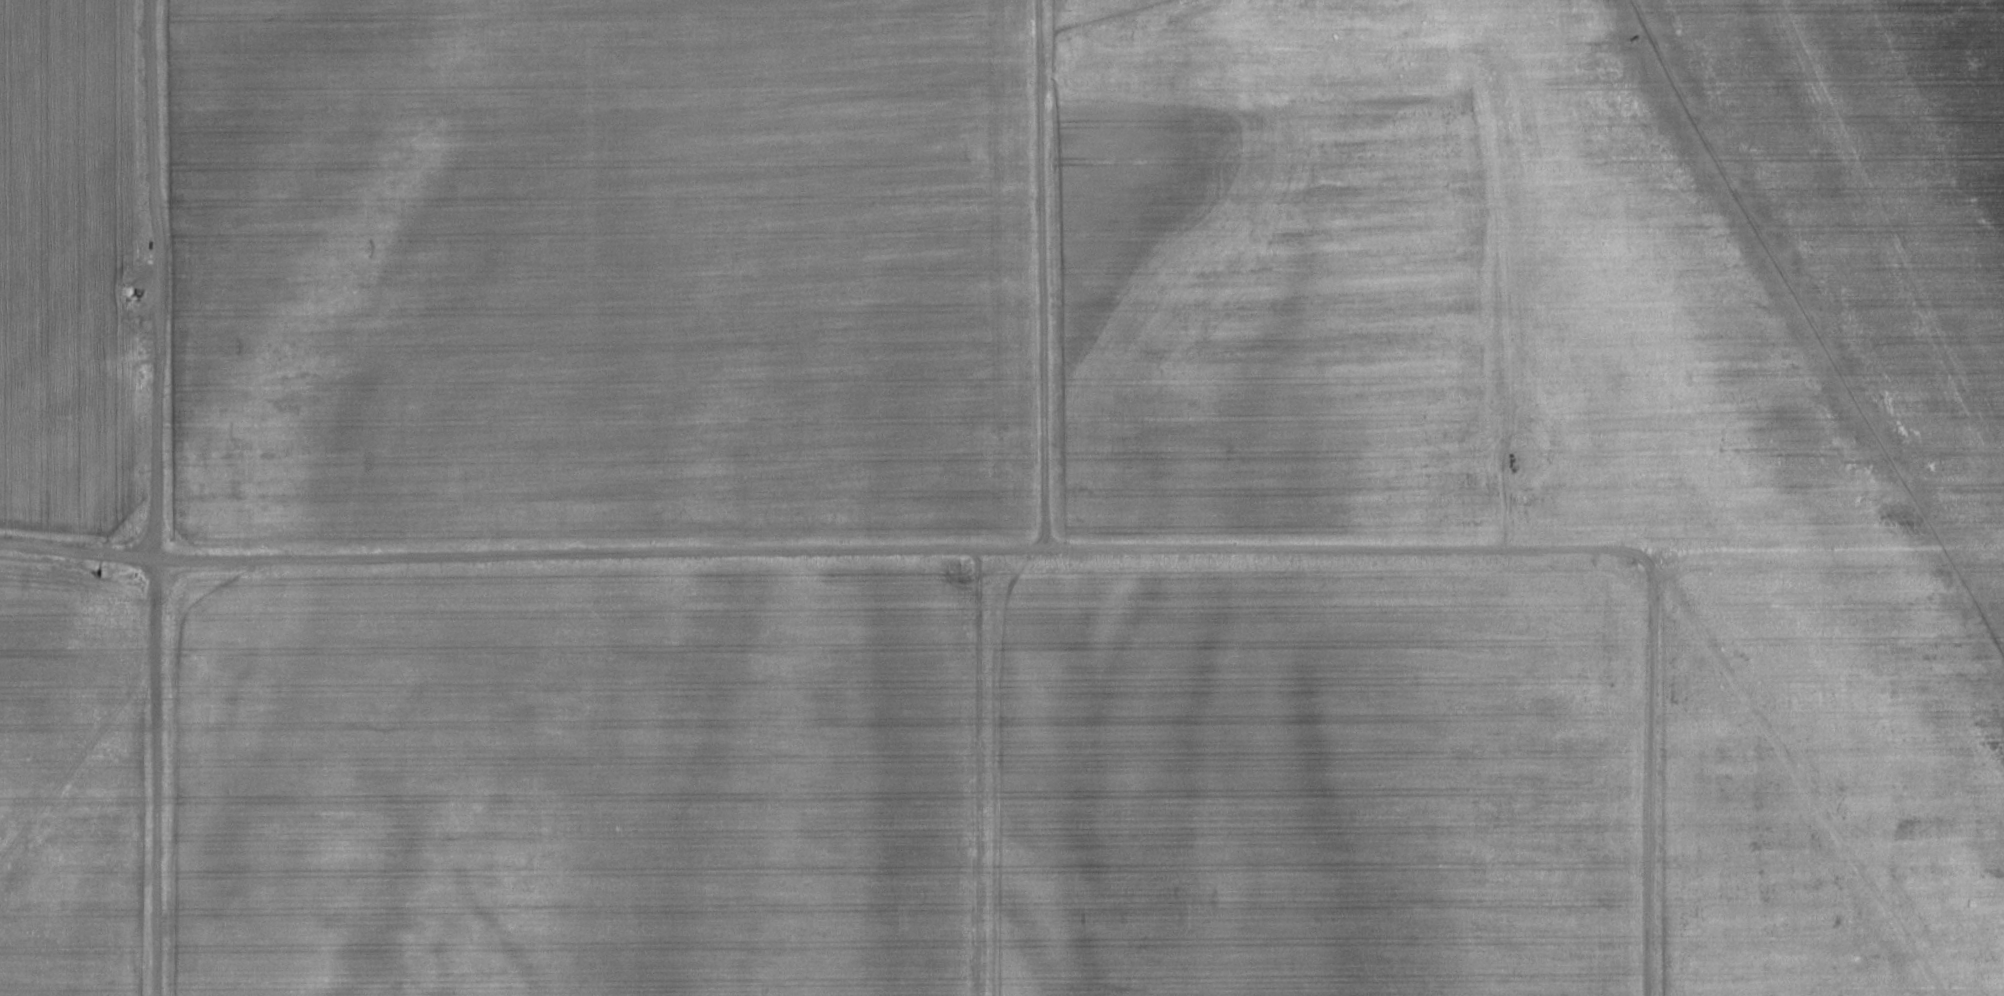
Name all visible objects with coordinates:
road: (81, 520)
road: (1085, 550)
road: (163, 762)
road: (968, 773)

